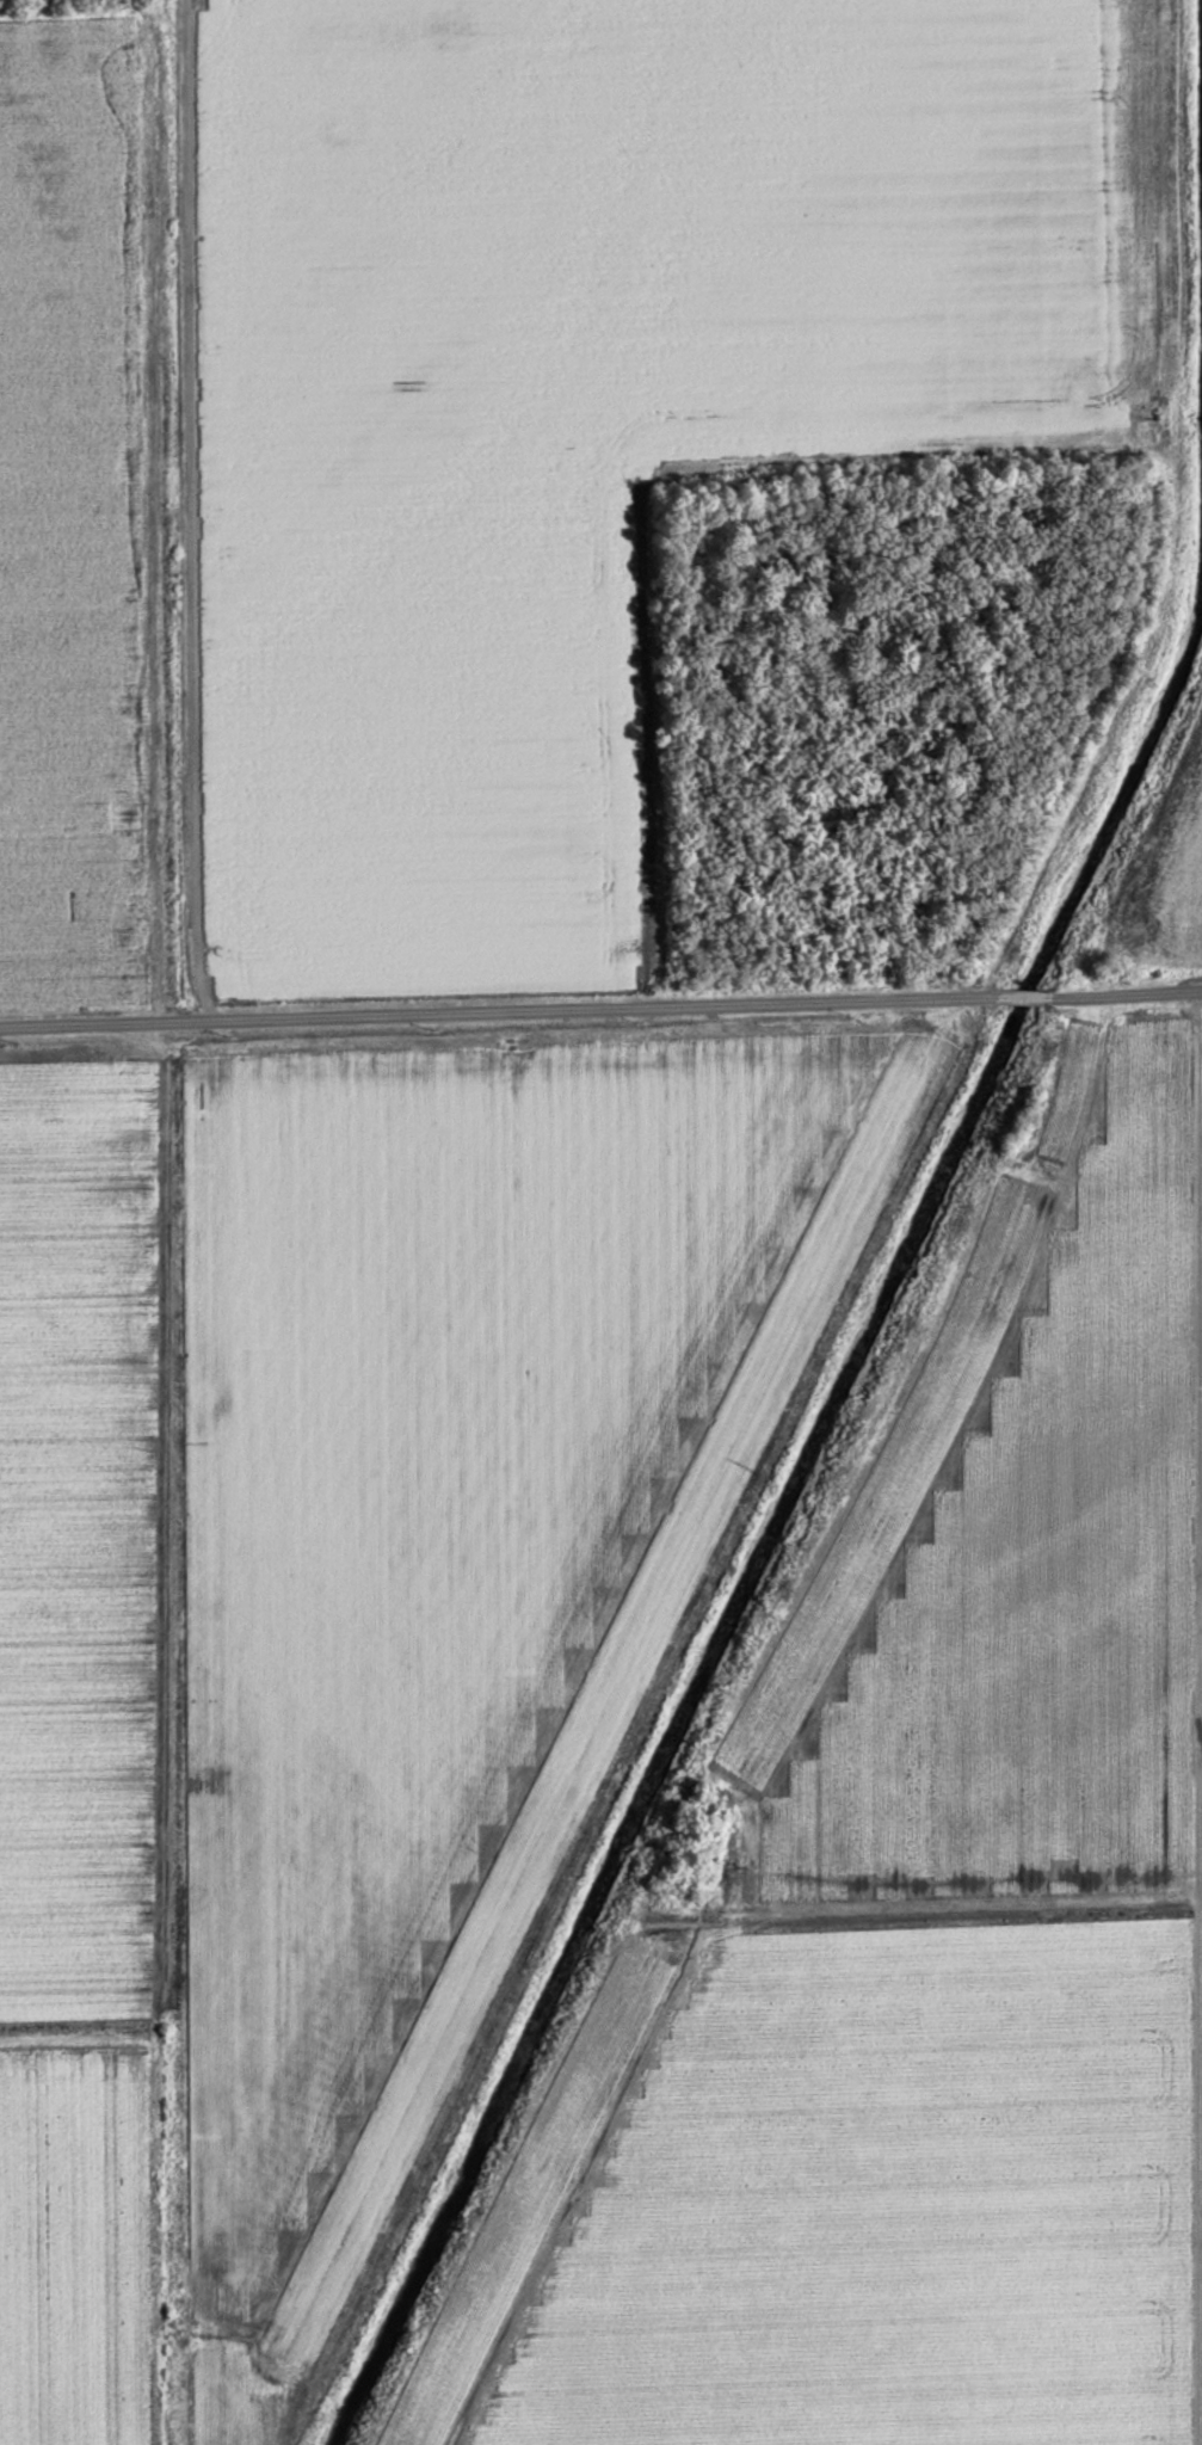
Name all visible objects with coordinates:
road: (600, 1005)

